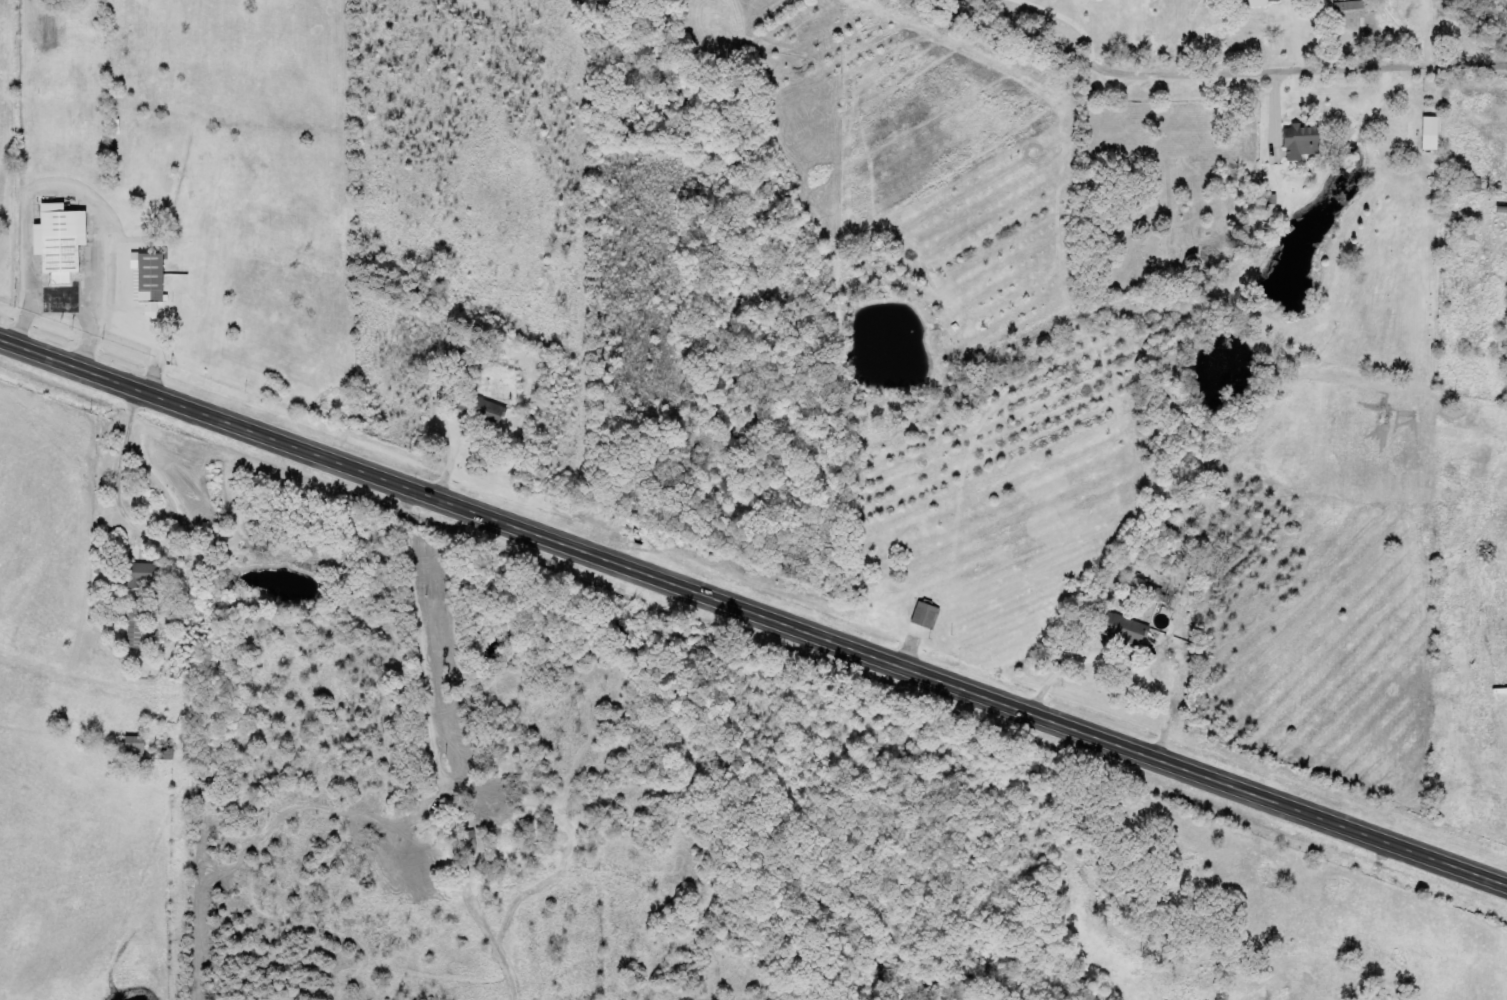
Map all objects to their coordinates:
building: (1265, 3)
building: (1350, 15)
road: (1191, 81)
building: (121, 129)
building: (1432, 134)
building: (1471, 186)
building: (1269, 195)
park: (1157, 211)
building: (60, 241)
building: (479, 407)
building: (144, 574)
building: (1151, 592)
road: (753, 616)
building: (928, 616)
building: (1125, 629)
building: (136, 747)

